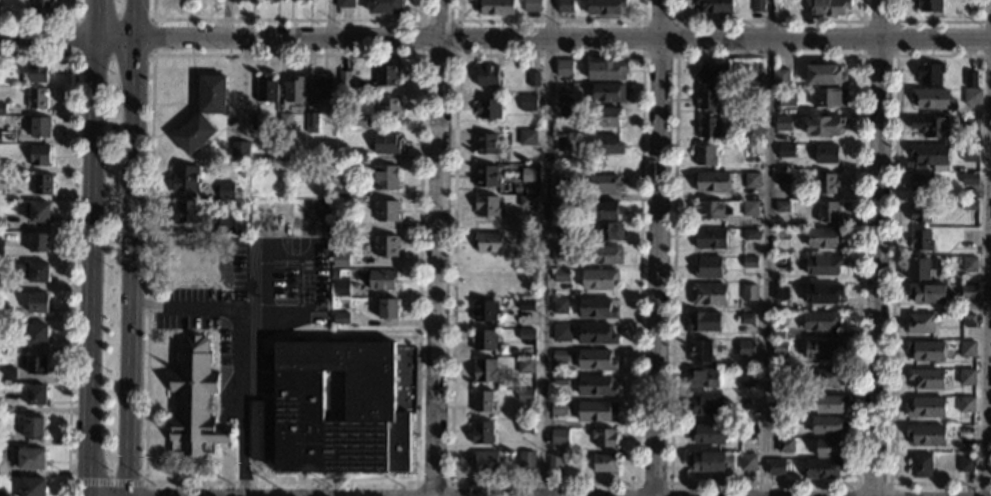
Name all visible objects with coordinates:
building: (278, 0)
building: (273, 1)
building: (43, 4)
building: (344, 4)
building: (1, 5)
building: (756, 5)
building: (531, 6)
building: (564, 6)
building: (713, 6)
building: (927, 6)
building: (384, 7)
building: (495, 7)
building: (604, 7)
building: (827, 8)
building: (972, 8)
road: (46, 17)
road: (225, 19)
road: (287, 19)
road: (329, 19)
road: (550, 20)
road: (676, 20)
road: (769, 20)
road: (932, 20)
road: (495, 38)
road: (455, 53)
road: (151, 54)
road: (895, 55)
road: (640, 56)
building: (8, 65)
building: (563, 69)
building: (604, 72)
building: (37, 73)
building: (711, 74)
building: (928, 74)
building: (486, 76)
building: (824, 76)
building: (386, 77)
building: (780, 78)
building: (345, 80)
building: (533, 80)
building: (971, 80)
building: (749, 83)
building: (266, 90)
building: (322, 90)
building: (294, 91)
building: (607, 94)
building: (565, 96)
building: (749, 96)
building: (972, 96)
building: (787, 98)
building: (931, 99)
building: (38, 100)
building: (828, 100)
building: (706, 101)
building: (528, 105)
building: (386, 109)
building: (3, 110)
building: (488, 110)
building: (565, 115)
building: (203, 116)
building: (604, 119)
building: (284, 122)
building: (358, 122)
building: (256, 123)
building: (311, 124)
building: (782, 124)
building: (971, 125)
building: (751, 127)
building: (824, 127)
building: (930, 127)
building: (41, 128)
building: (707, 129)
building: (8, 138)
building: (527, 138)
building: (385, 144)
building: (563, 145)
building: (486, 146)
building: (605, 146)
building: (240, 151)
road: (136, 152)
building: (751, 152)
building: (785, 152)
building: (970, 154)
building: (826, 155)
building: (704, 156)
building: (930, 156)
building: (41, 157)
building: (357, 157)
building: (5, 167)
building: (593, 170)
building: (528, 174)
building: (486, 178)
building: (385, 179)
building: (184, 180)
building: (783, 180)
building: (969, 180)
building: (751, 182)
building: (920, 182)
building: (712, 183)
building: (604, 184)
building: (825, 185)
building: (43, 186)
building: (341, 191)
building: (226, 192)
building: (2, 193)
building: (526, 203)
building: (561, 204)
building: (969, 206)
building: (486, 207)
building: (786, 207)
building: (749, 209)
building: (709, 211)
building: (384, 212)
building: (603, 212)
building: (36, 213)
building: (186, 213)
building: (919, 213)
building: (826, 214)
building: (2, 224)
building: (225, 227)
building: (339, 229)
building: (561, 230)
building: (608, 233)
building: (749, 236)
building: (781, 236)
road: (70, 237)
building: (823, 238)
building: (709, 239)
building: (968, 240)
building: (920, 241)
building: (527, 242)
building: (487, 243)
building: (40, 244)
building: (182, 246)
road: (93, 247)
building: (385, 247)
road: (437, 247)
road: (658, 247)
road: (767, 247)
road: (877, 247)
road: (986, 247)
road: (544, 248)
road: (297, 249)
building: (1, 254)
building: (561, 255)
building: (603, 256)
building: (225, 258)
building: (341, 260)
building: (749, 263)
building: (780, 265)
building: (822, 266)
building: (969, 266)
building: (708, 268)
building: (920, 269)
road: (891, 272)
building: (40, 274)
building: (562, 277)
building: (597, 280)
building: (381, 281)
building: (1, 284)
building: (186, 284)
building: (321, 289)
building: (340, 289)
building: (968, 293)
building: (748, 294)
building: (780, 294)
building: (822, 294)
building: (926, 294)
building: (708, 296)
building: (39, 304)
building: (560, 306)
building: (526, 307)
building: (387, 309)
building: (596, 309)
parking lot: (258, 312)
building: (484, 312)
building: (0, 313)
building: (340, 319)
building: (746, 320)
building: (967, 321)
building: (818, 322)
building: (704, 323)
building: (920, 324)
building: (561, 334)
building: (525, 335)
building: (595, 335)
building: (778, 335)
building: (39, 336)
road: (337, 337)
building: (484, 340)
road: (250, 346)
building: (13, 347)
road: (172, 347)
building: (747, 350)
building: (780, 350)
building: (821, 351)
building: (967, 351)
building: (701, 352)
building: (925, 352)
building: (595, 362)
building: (38, 366)
road: (162, 367)
building: (525, 367)
building: (560, 367)
building: (485, 372)
building: (8, 378)
building: (966, 378)
building: (702, 380)
building: (744, 380)
building: (825, 380)
building: (925, 380)
building: (595, 387)
building: (781, 387)
building: (524, 395)
building: (37, 397)
road: (134, 400)
building: (483, 402)
building: (194, 403)
building: (779, 403)
building: (704, 406)
building: (830, 406)
building: (966, 406)
building: (0, 407)
building: (748, 407)
building: (336, 408)
building: (926, 409)
building: (558, 410)
building: (594, 413)
building: (778, 423)
building: (827, 427)
building: (525, 428)
building: (34, 429)
road: (157, 433)
building: (481, 434)
building: (706, 434)
building: (746, 434)
building: (925, 436)
building: (559, 438)
building: (1, 439)
building: (604, 440)
building: (785, 446)
building: (829, 450)
building: (33, 461)
building: (526, 461)
building: (484, 462)
building: (708, 462)
road: (224, 463)
building: (554, 464)
building: (748, 464)
building: (990, 464)
building: (604, 465)
building: (965, 466)
building: (920, 467)
building: (776, 469)
building: (823, 470)
road: (105, 481)
road: (432, 481)
road: (144, 482)
road: (652, 482)
road: (669, 482)
road: (871, 484)
building: (34, 487)
road: (144, 489)
building: (2, 494)

